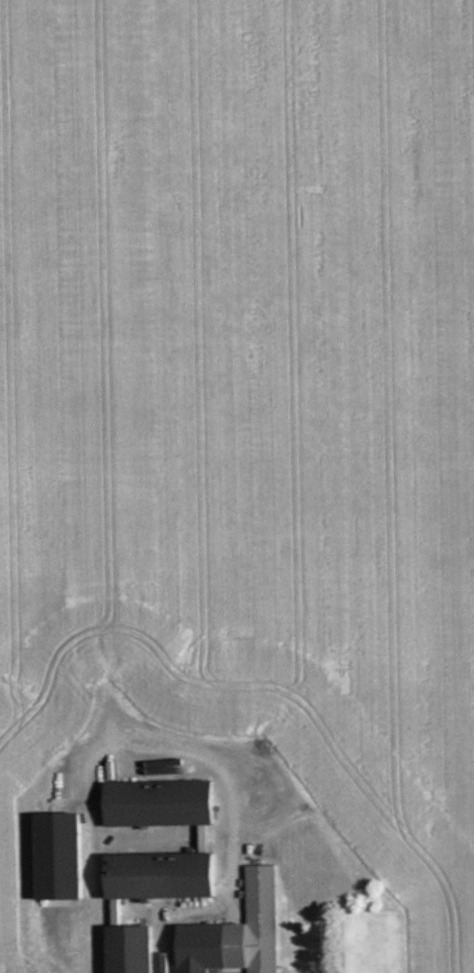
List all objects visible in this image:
building: (163, 800)
building: (163, 873)
building: (239, 931)
building: (132, 948)

